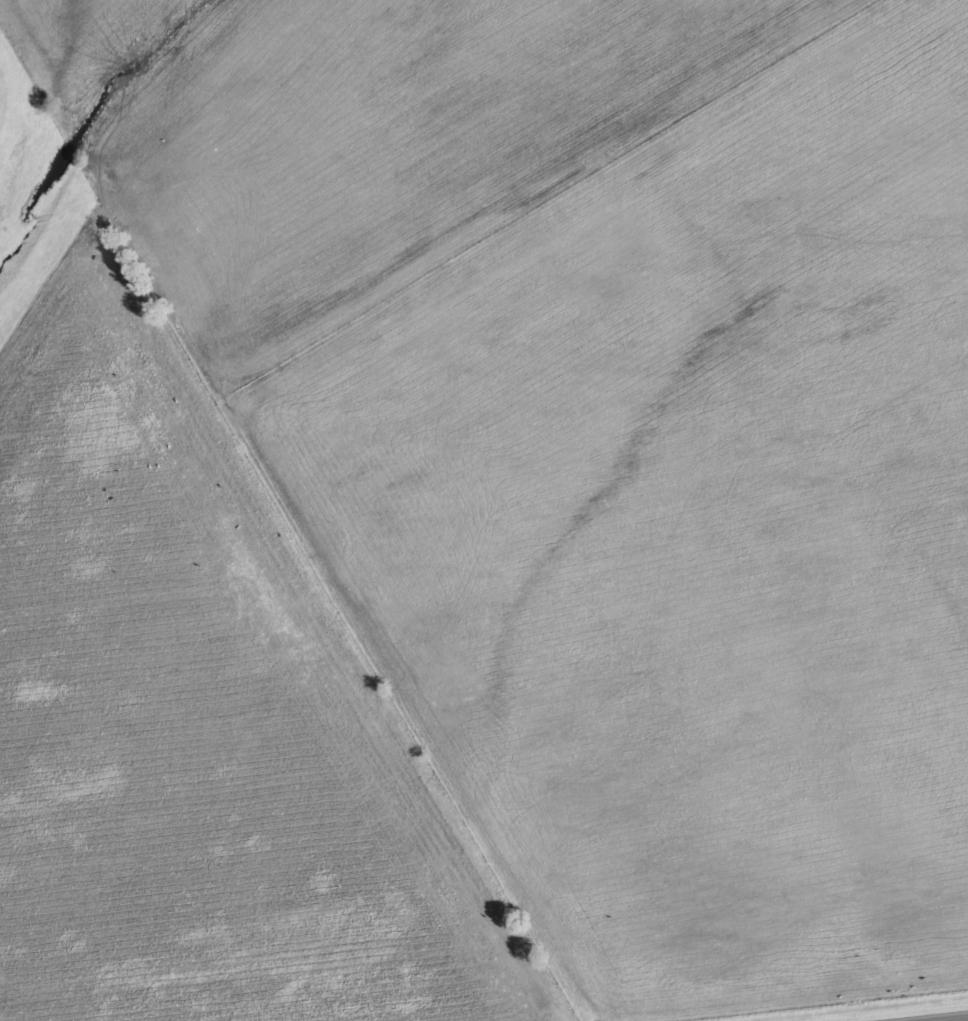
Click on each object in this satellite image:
road: (966, 1020)

